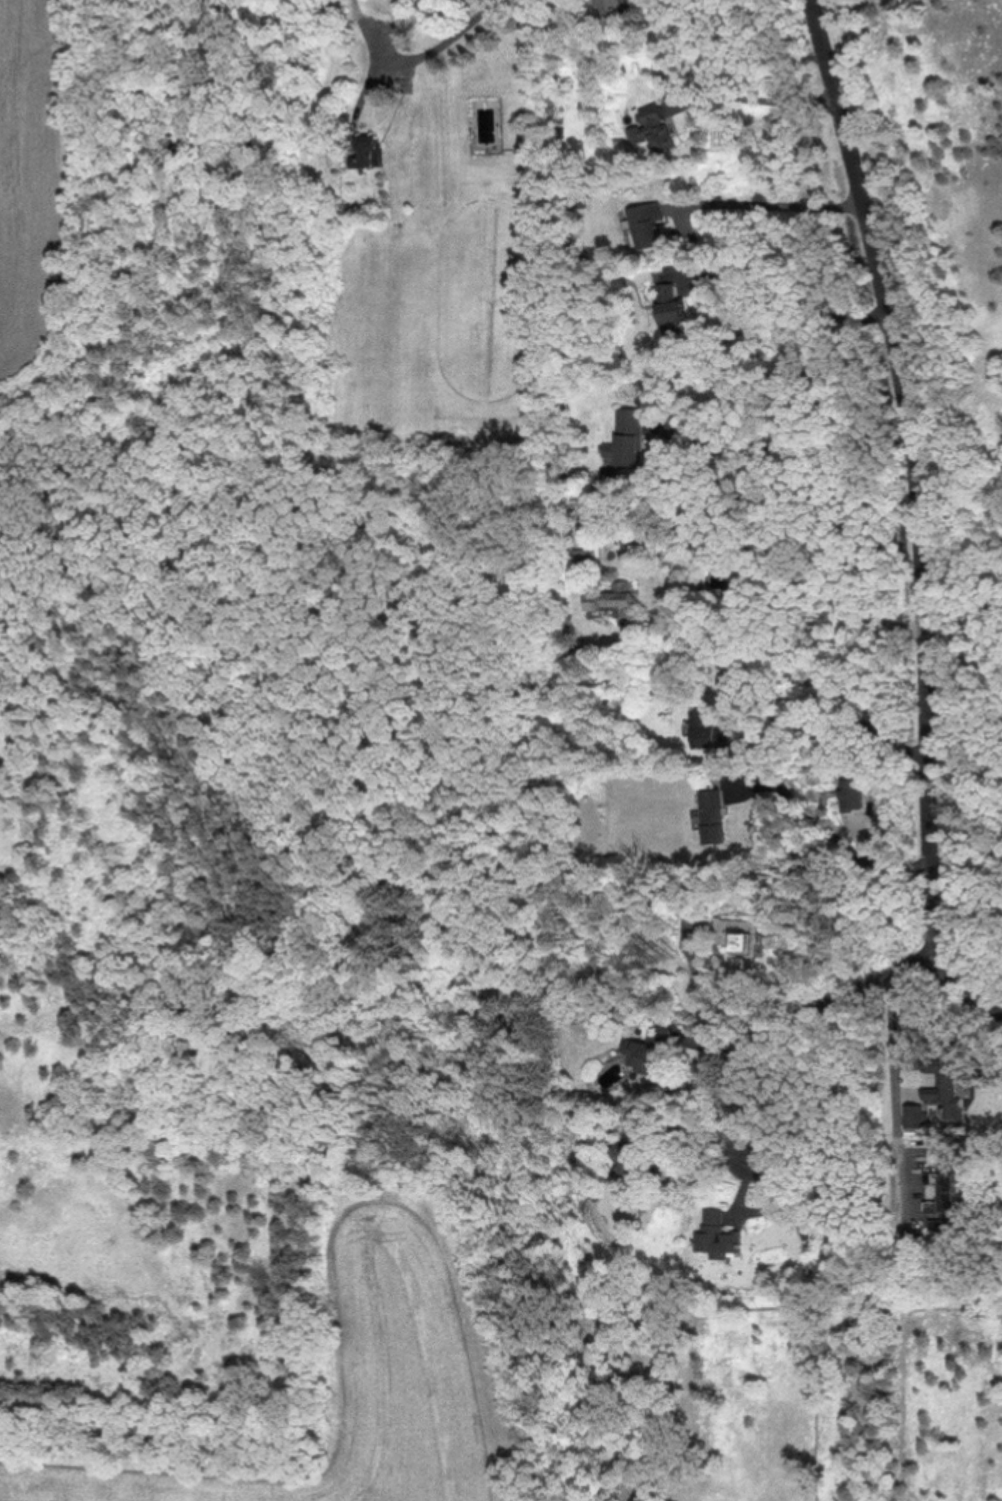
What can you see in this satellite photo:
building: (610, 7)
road: (412, 58)
road: (751, 98)
building: (652, 129)
building: (367, 152)
building: (581, 203)
road: (771, 205)
building: (646, 224)
crop: (156, 229)
building: (621, 281)
road: (789, 292)
building: (670, 304)
building: (640, 385)
building: (627, 438)
road: (776, 447)
road: (916, 517)
road: (777, 552)
building: (585, 557)
building: (615, 600)
building: (734, 681)
road: (838, 715)
building: (710, 731)
building: (850, 794)
building: (713, 816)
building: (740, 936)
road: (697, 997)
road: (789, 1019)
building: (925, 1033)
building: (649, 1053)
building: (945, 1060)
road: (893, 1096)
building: (946, 1097)
building: (914, 1117)
building: (947, 1161)
building: (632, 1164)
building: (941, 1180)
building: (941, 1203)
building: (947, 1222)
building: (716, 1236)
building: (907, 1240)
crop: (272, 1337)

